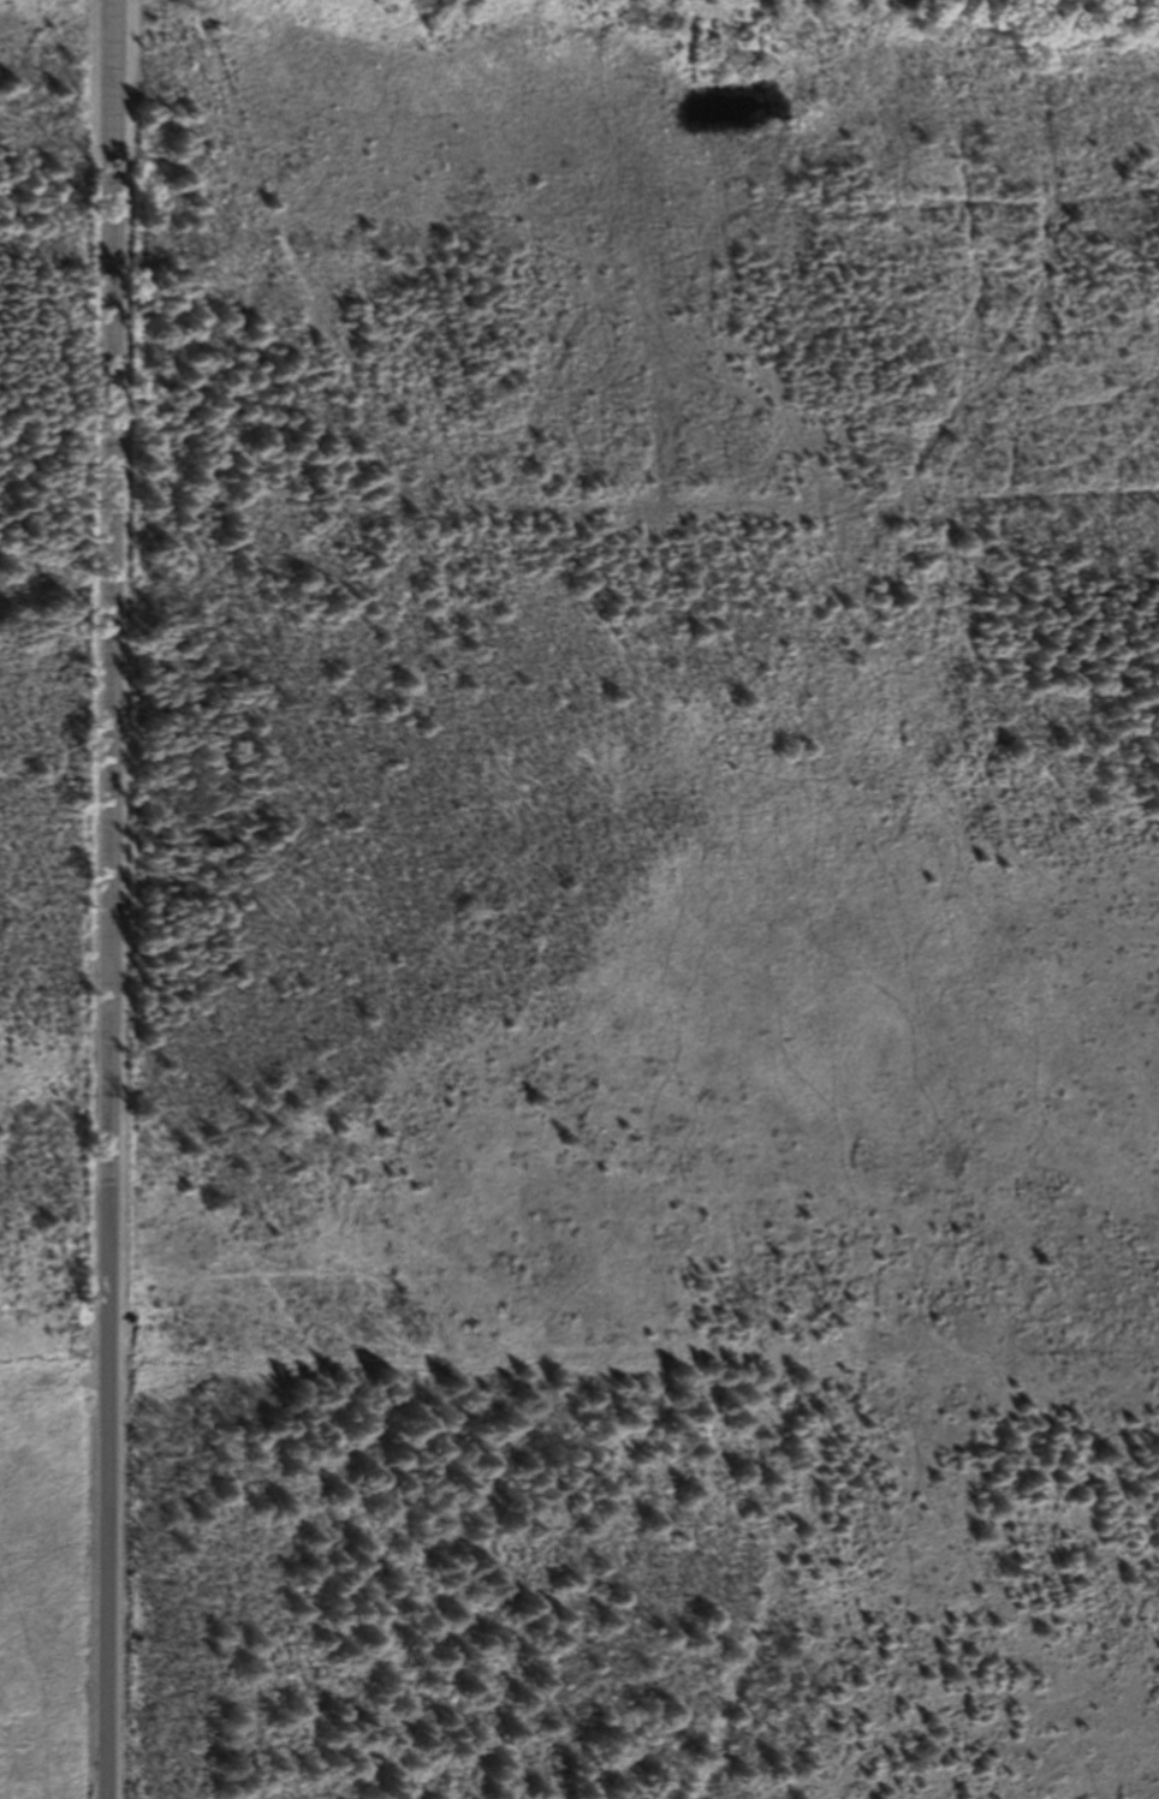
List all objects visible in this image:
road: (113, 899)

